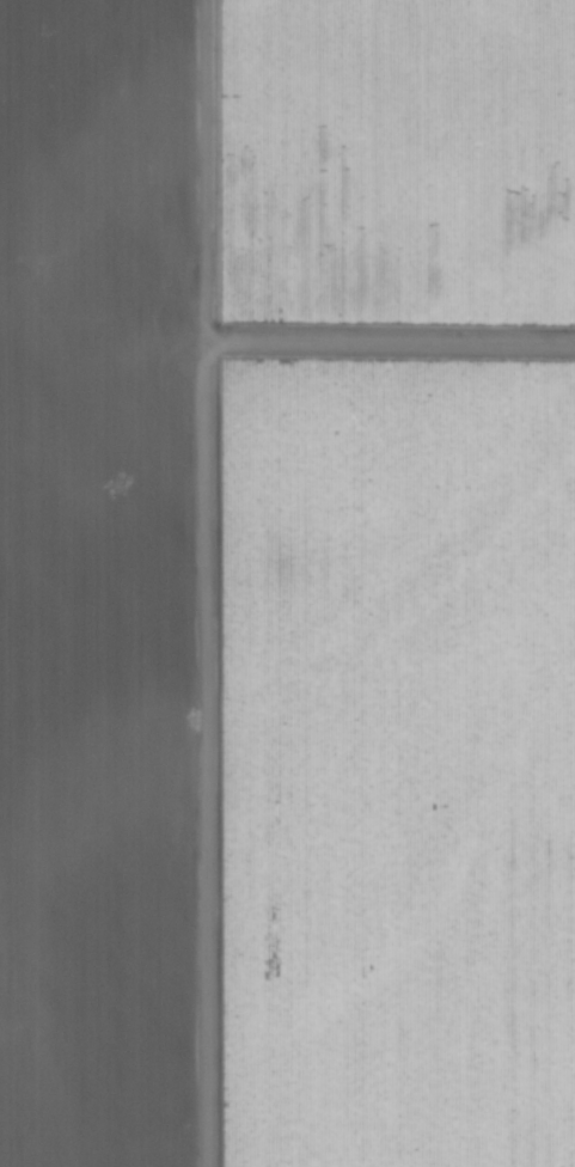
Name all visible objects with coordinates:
crop: (287, 583)

